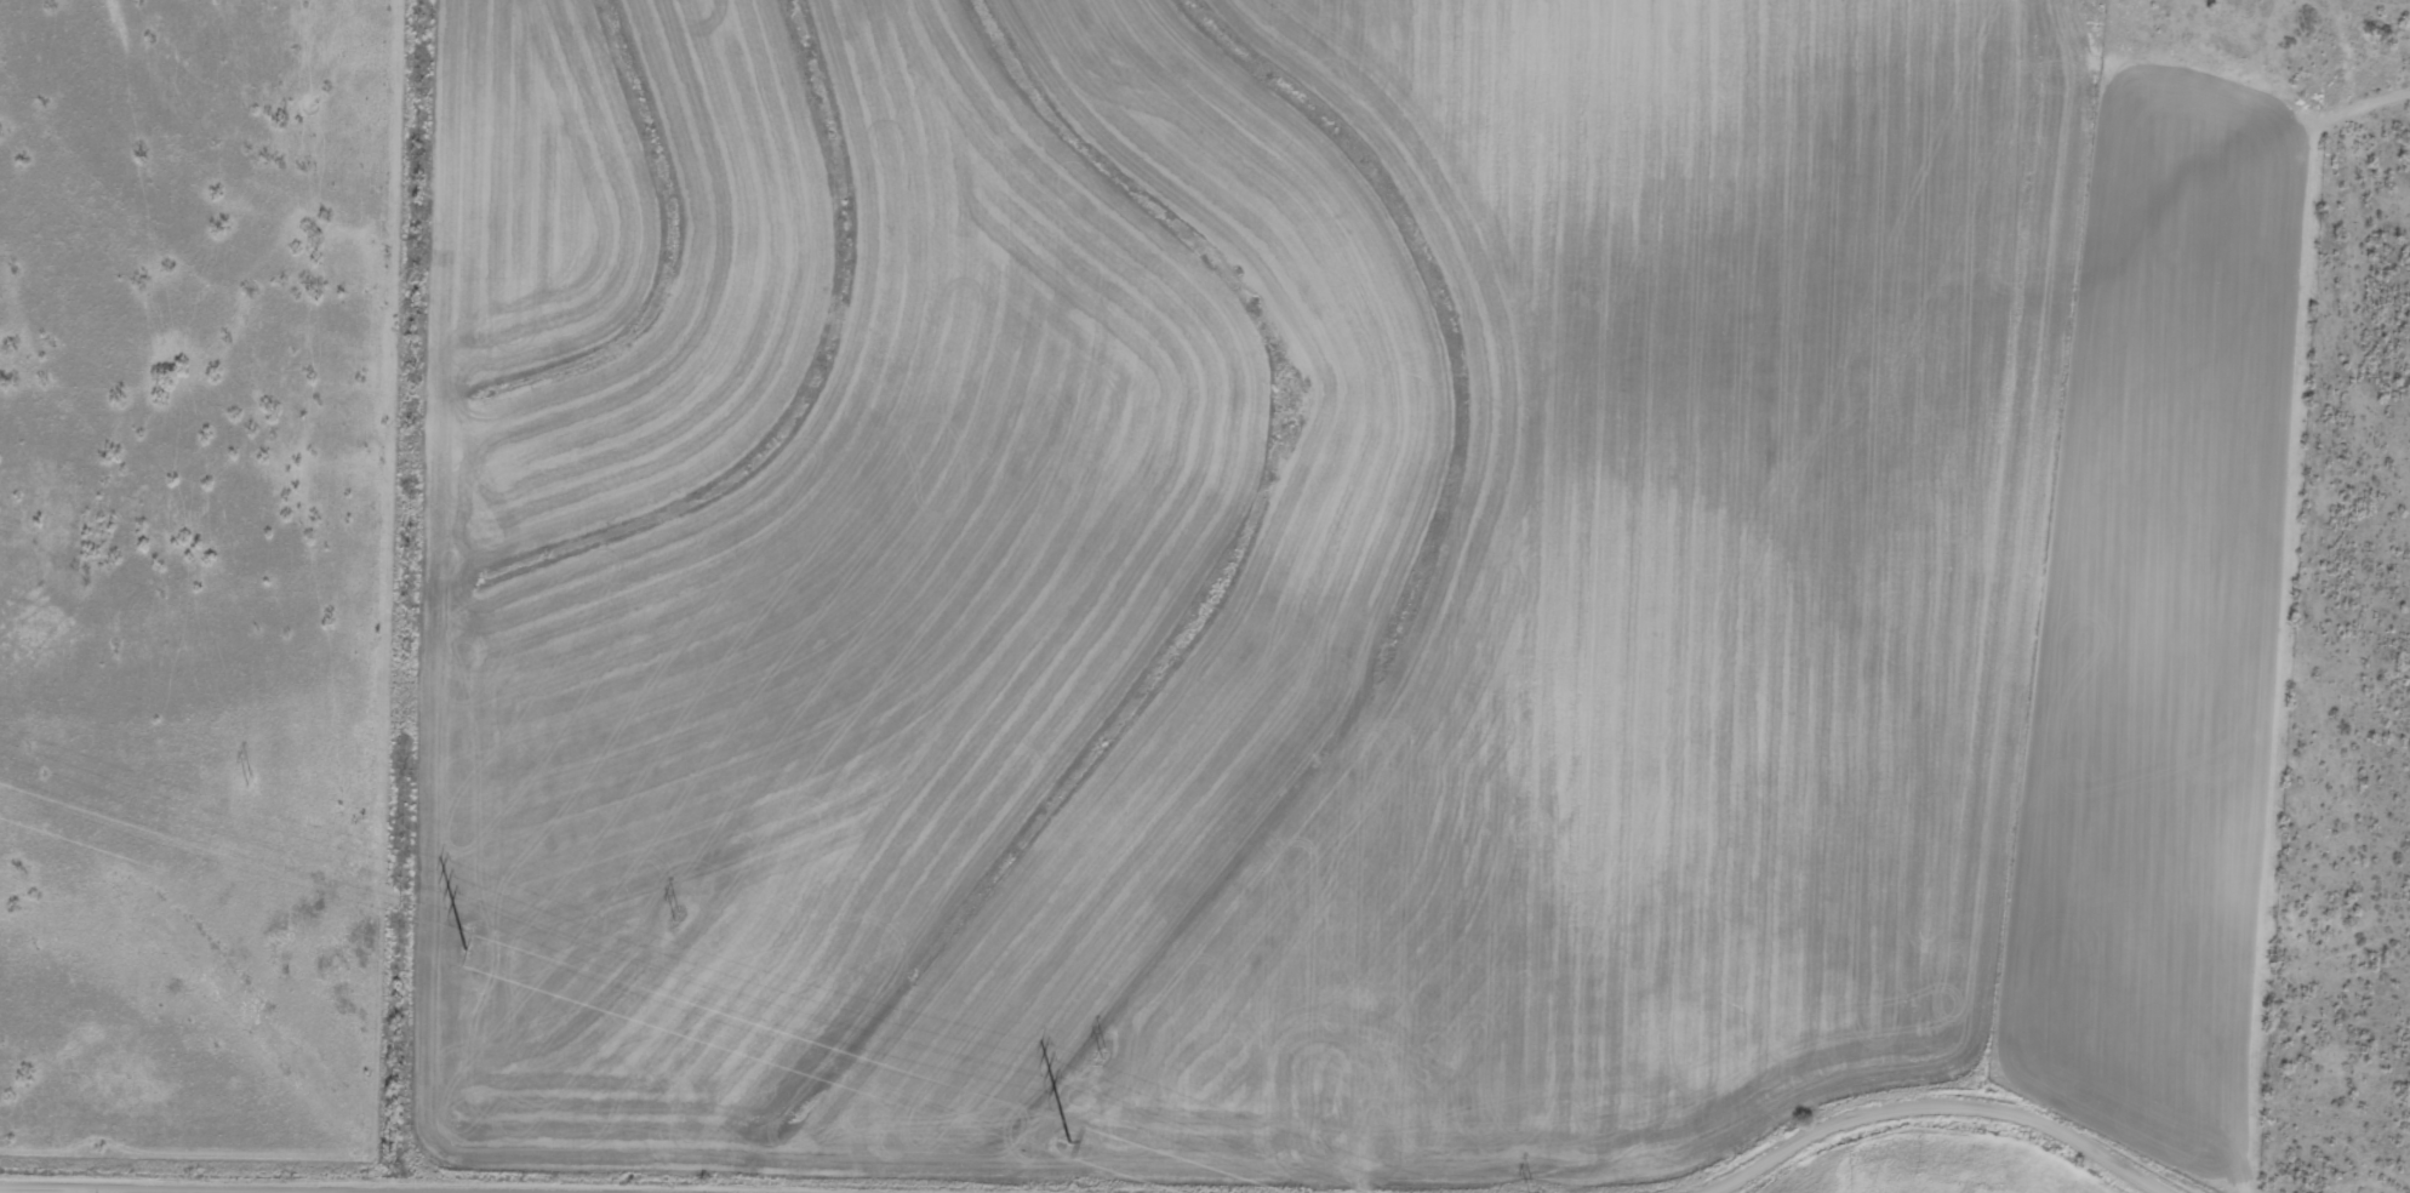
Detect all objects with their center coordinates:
power tower: (247, 780)
power tower: (674, 915)
power tower: (466, 947)
power tower: (1102, 1052)
road: (1937, 1106)
power tower: (1068, 1140)
road: (162, 1189)
power tower: (1531, 1191)

